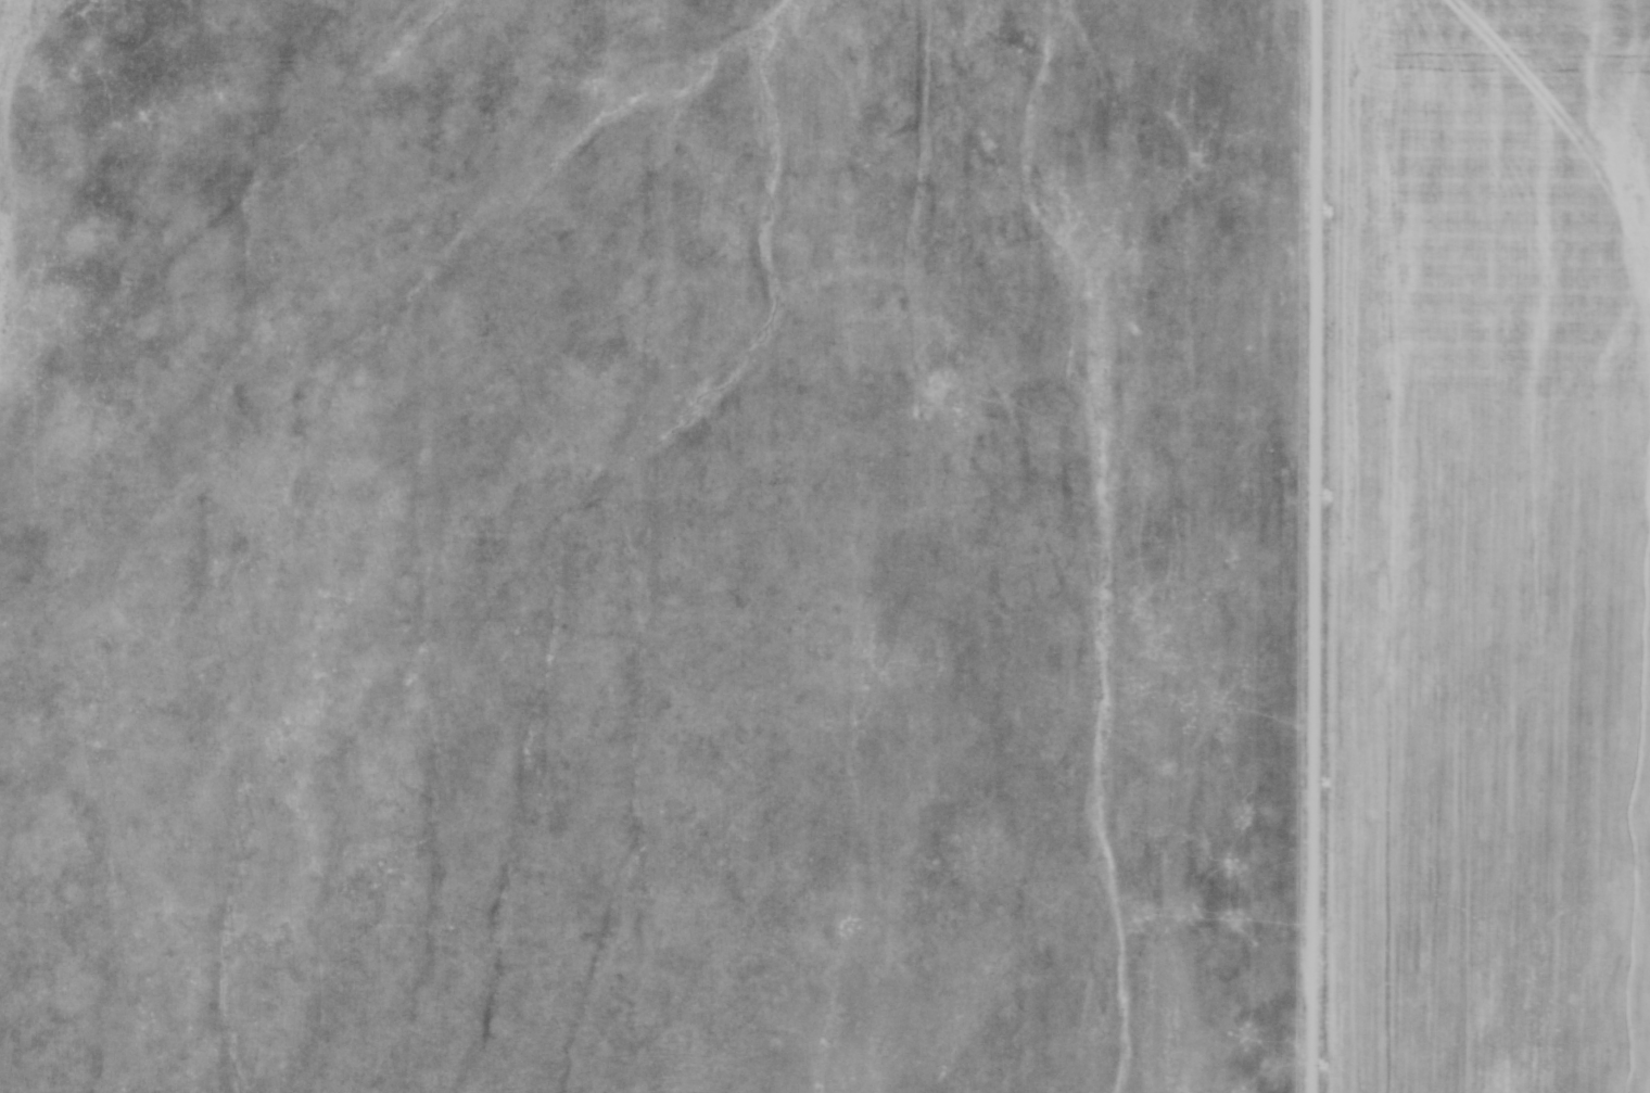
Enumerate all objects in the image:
road: (1317, 546)

